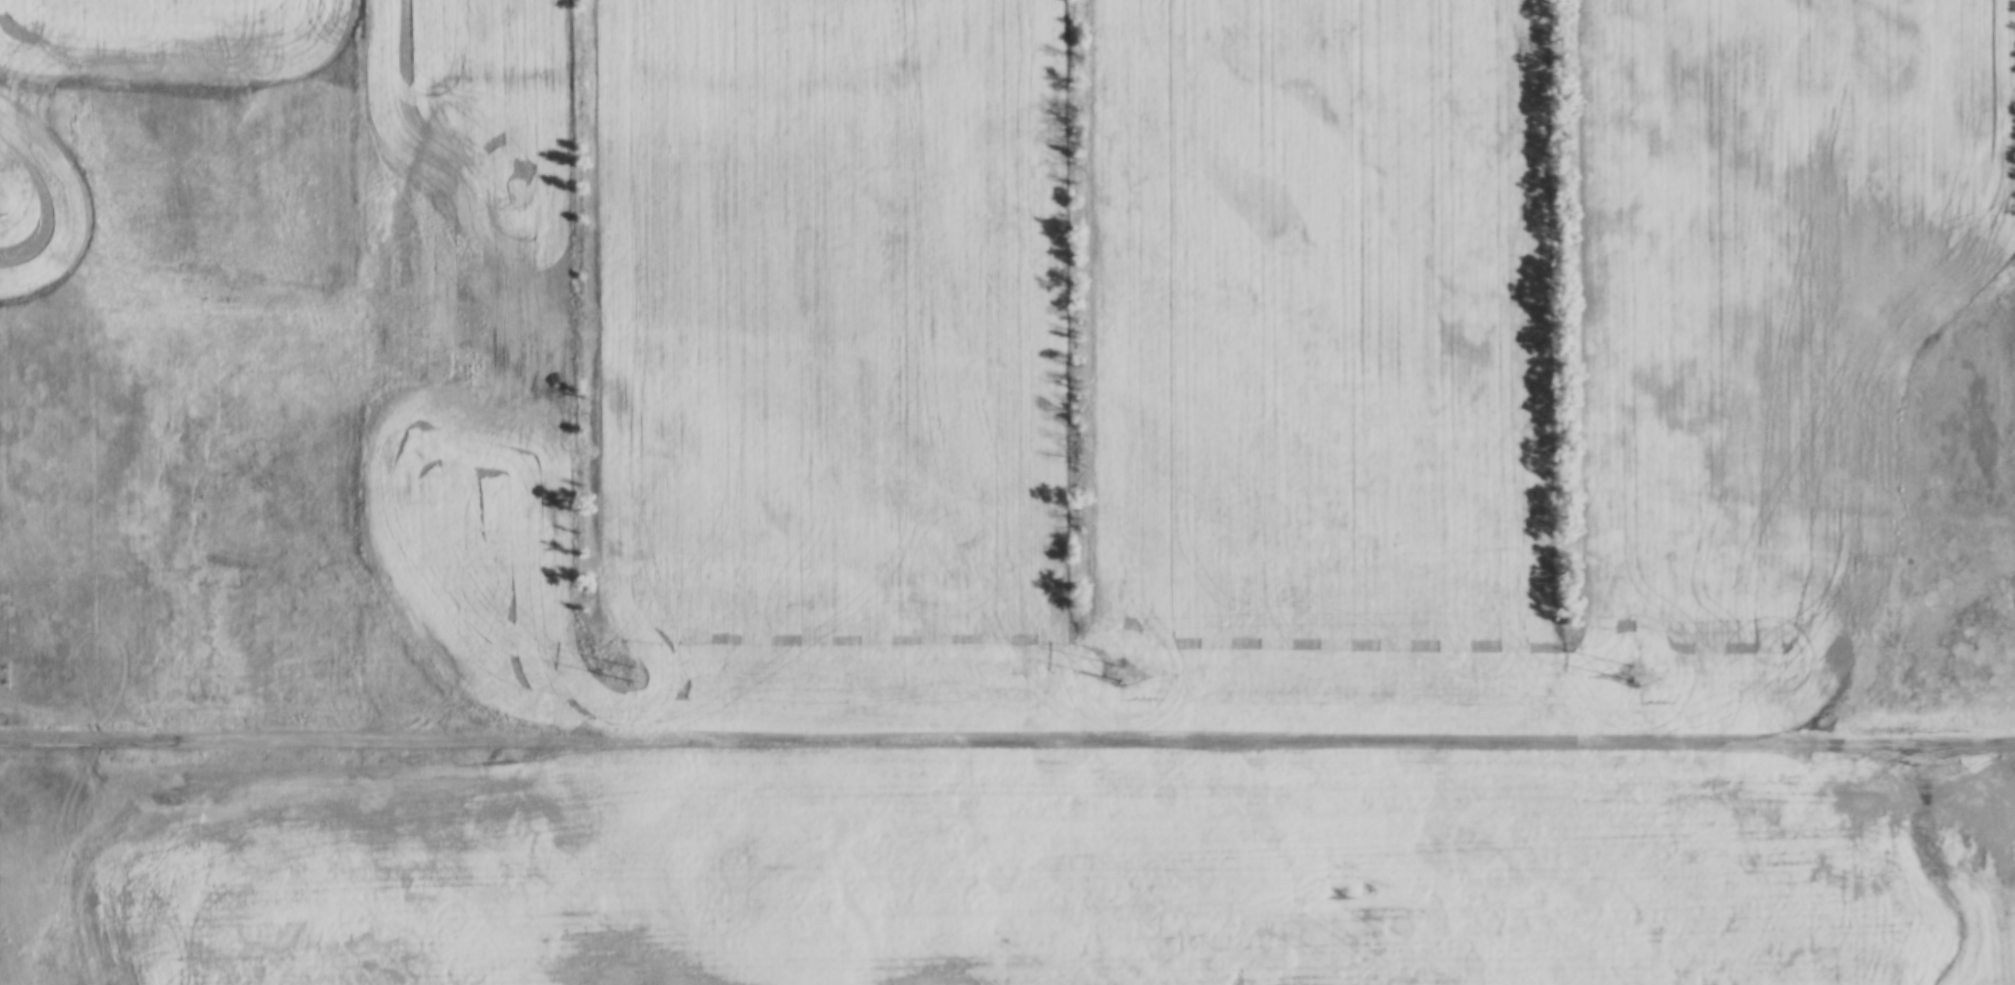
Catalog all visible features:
power tower: (621, 662)
power tower: (1110, 664)
power tower: (1624, 664)
road: (1007, 741)

